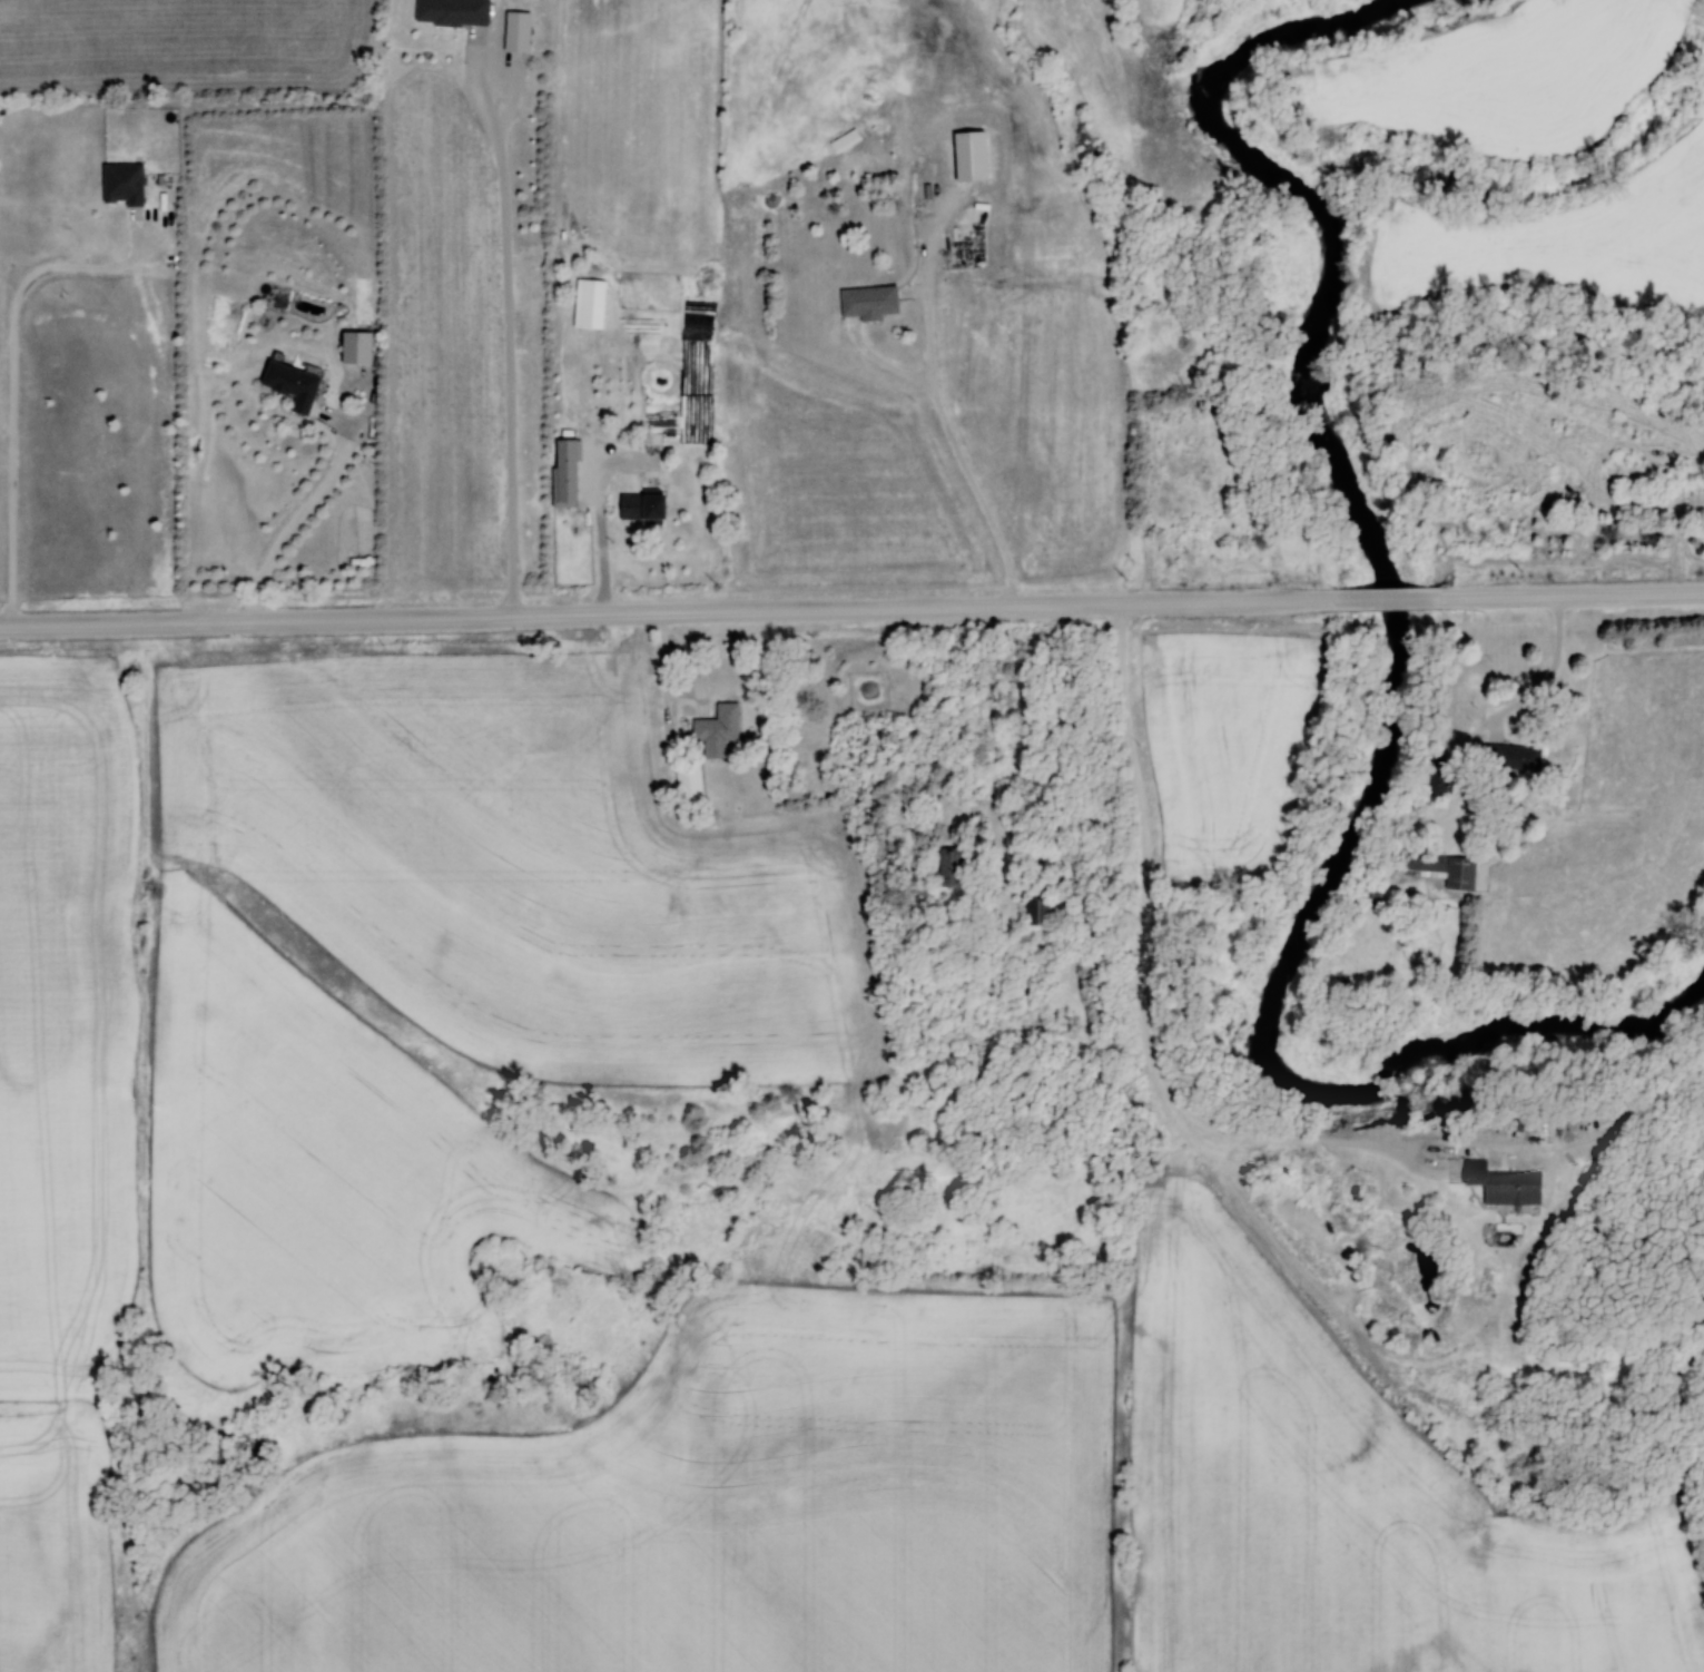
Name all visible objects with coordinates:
building: (453, 12)
building: (518, 31)
building: (845, 140)
building: (124, 185)
building: (870, 302)
road: (509, 330)
building: (357, 347)
road: (14, 383)
building: (294, 385)
road: (959, 458)
building: (574, 490)
building: (643, 508)
road: (298, 520)
road: (1574, 592)
road: (1398, 597)
road: (1037, 608)
road: (552, 617)
road: (190, 624)
river: (1403, 668)
road: (1553, 671)
building: (718, 731)
building: (1511, 758)
building: (1440, 776)
building: (689, 785)
building: (1047, 829)
building: (952, 868)
building: (1444, 871)
building: (1040, 914)
road: (1153, 1017)
building: (1505, 1184)

